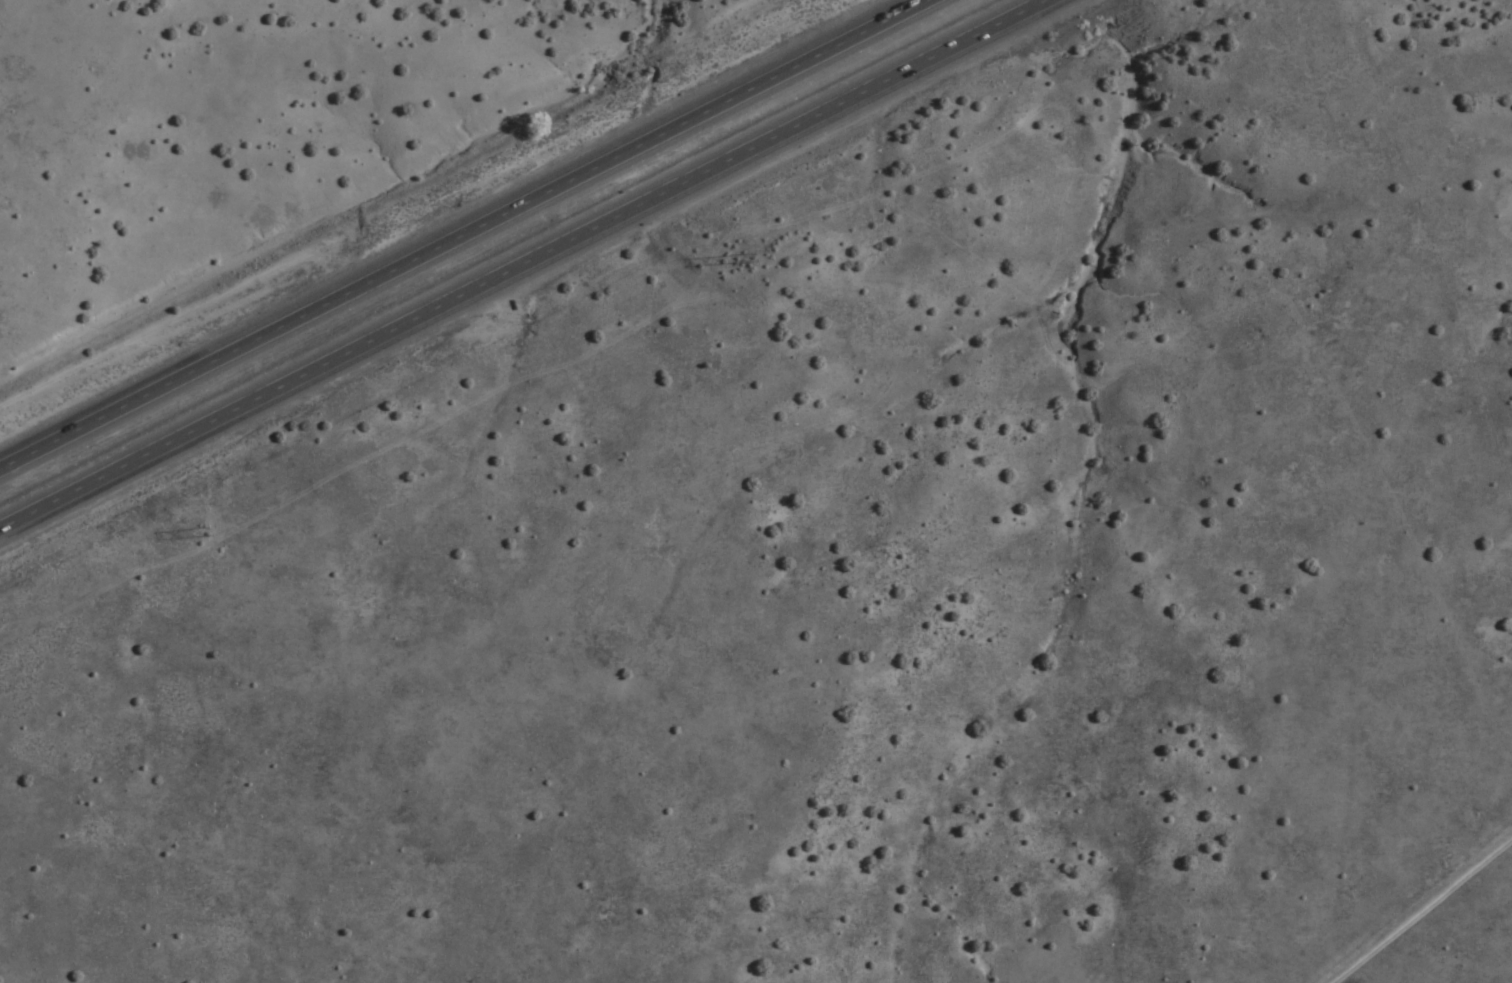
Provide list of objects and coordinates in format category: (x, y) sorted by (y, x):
road: (465, 234)
road: (521, 266)

